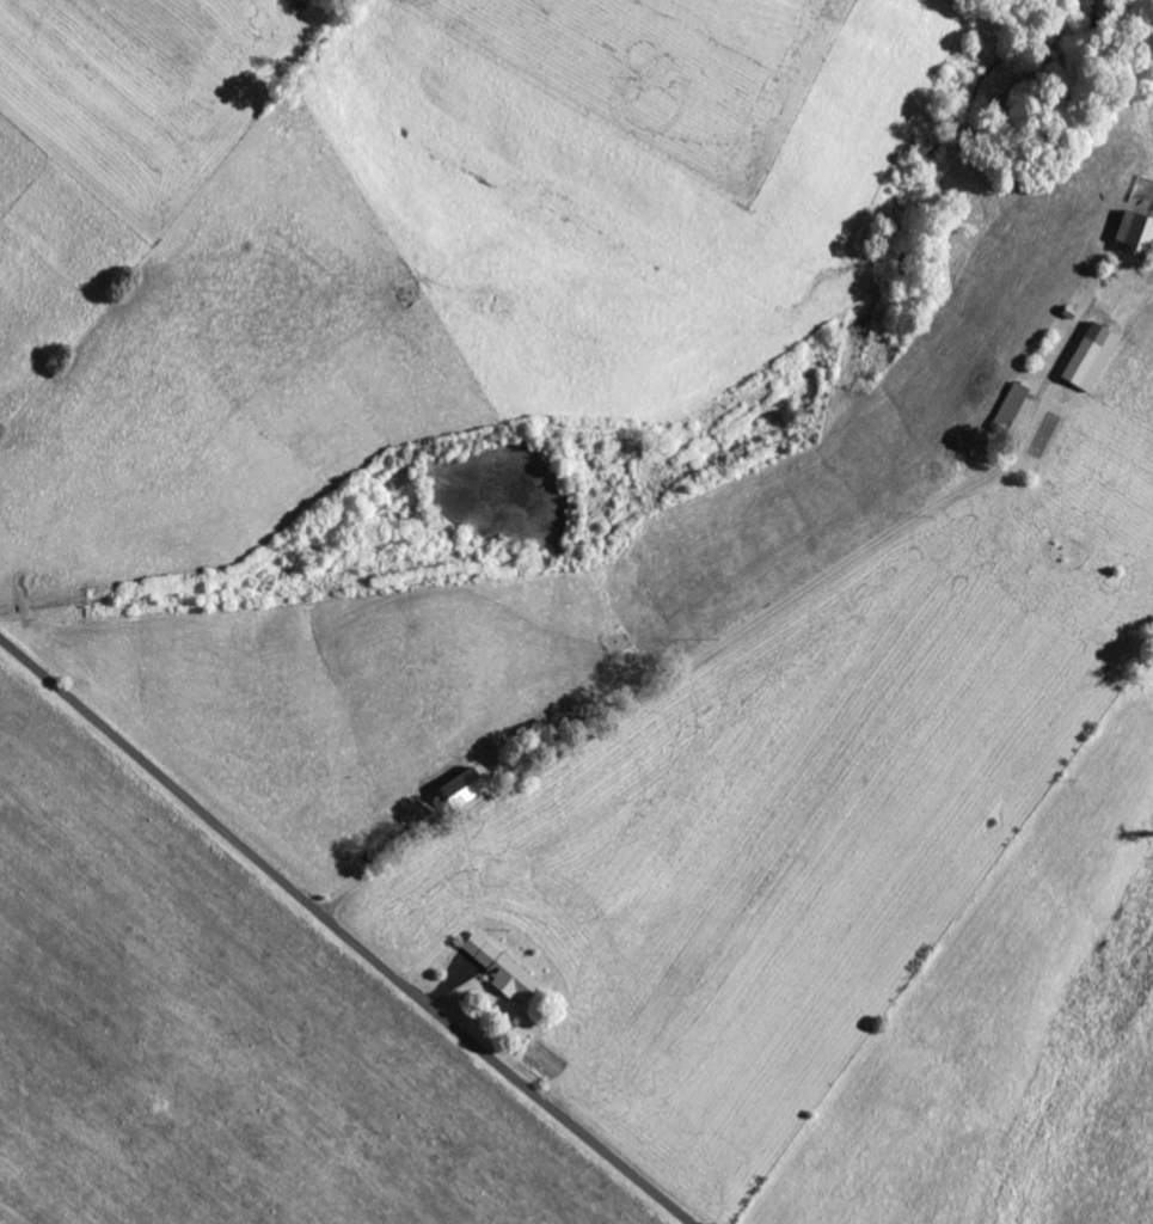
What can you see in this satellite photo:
building: (1135, 228)
building: (1091, 355)
road: (710, 663)
building: (461, 787)
road: (343, 934)
building: (502, 968)

